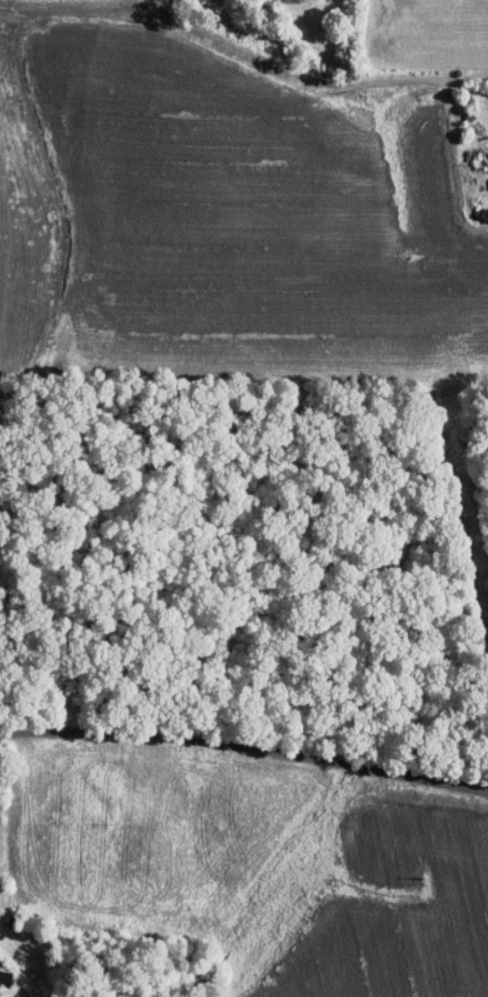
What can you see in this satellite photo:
building: (486, 154)
building: (484, 178)
road: (245, 746)
building: (0, 967)

